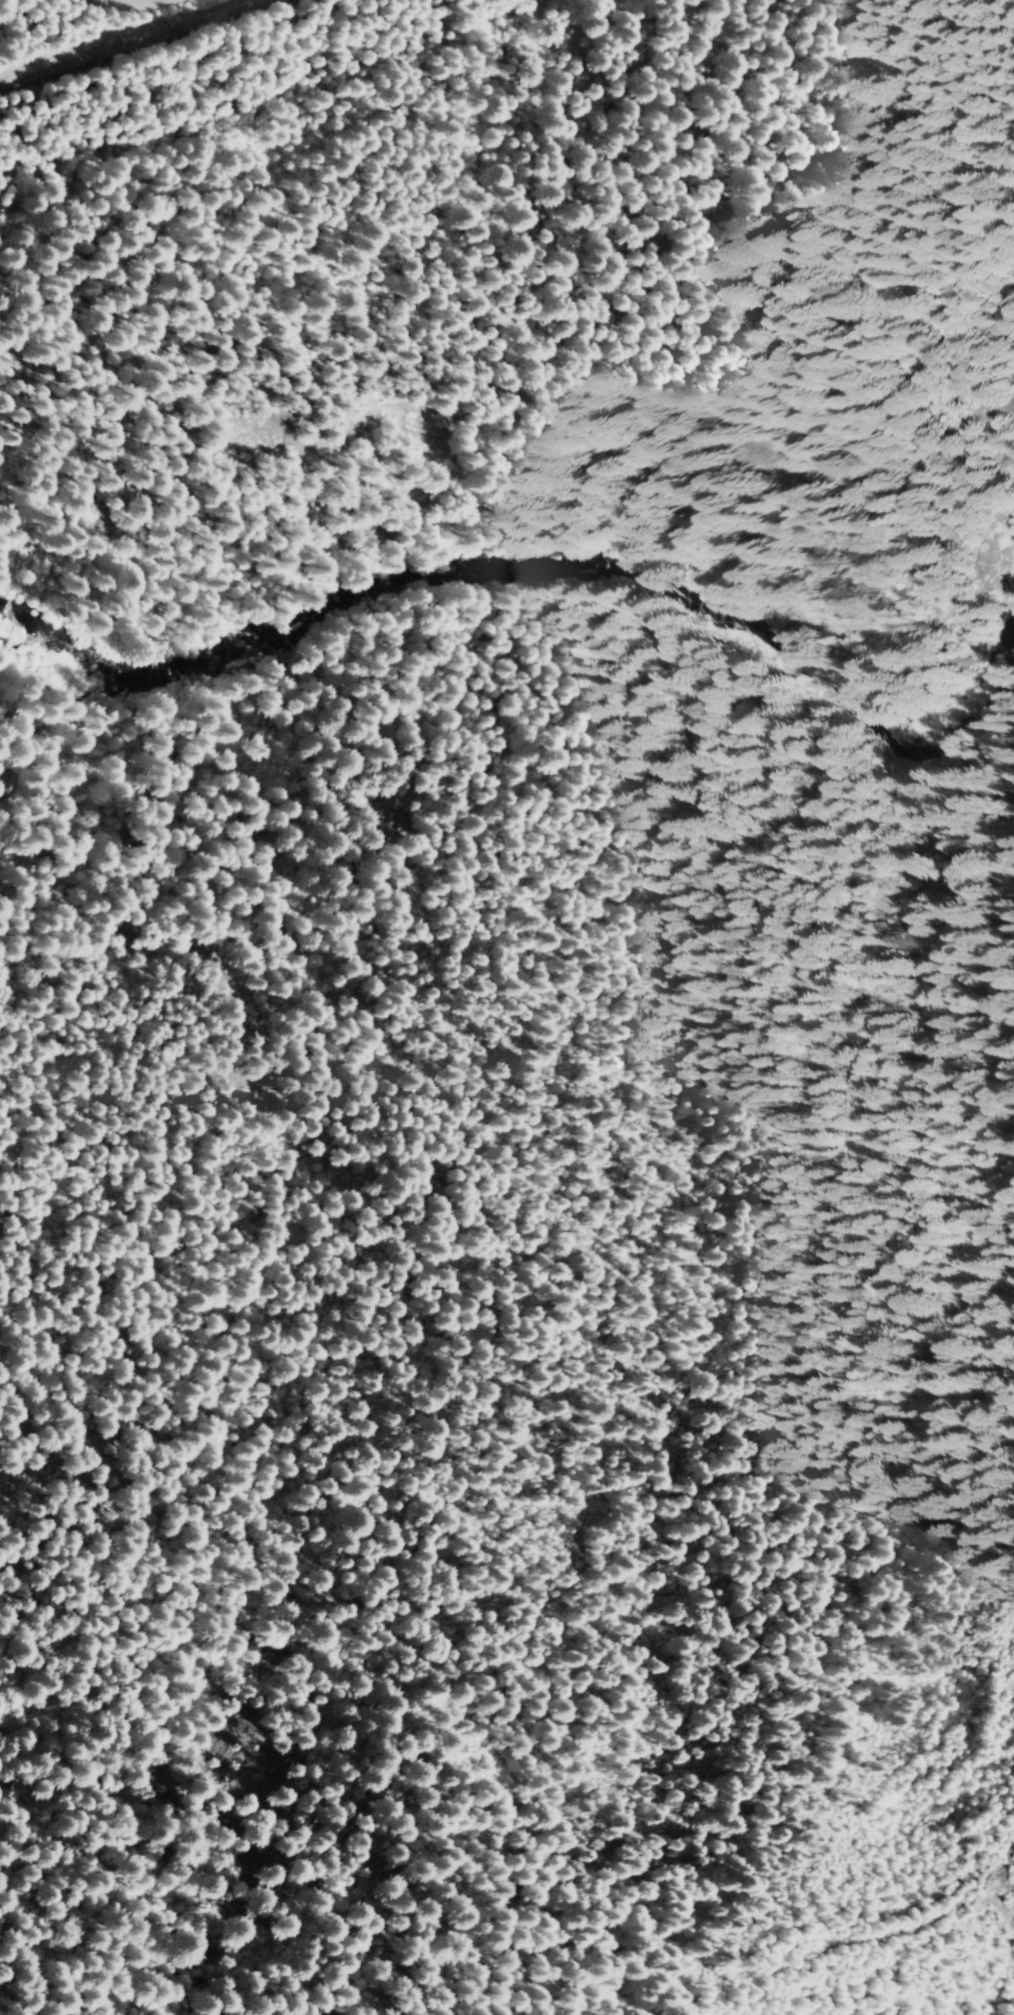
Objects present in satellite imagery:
road: (139, 1)
road: (120, 39)
river: (554, 574)
road: (456, 757)

